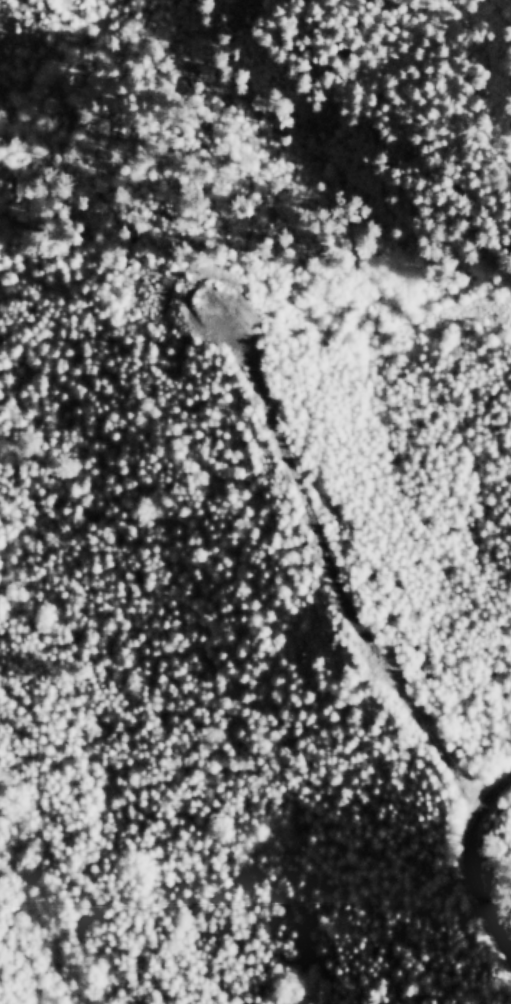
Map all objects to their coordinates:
road: (356, 596)
road: (472, 859)

